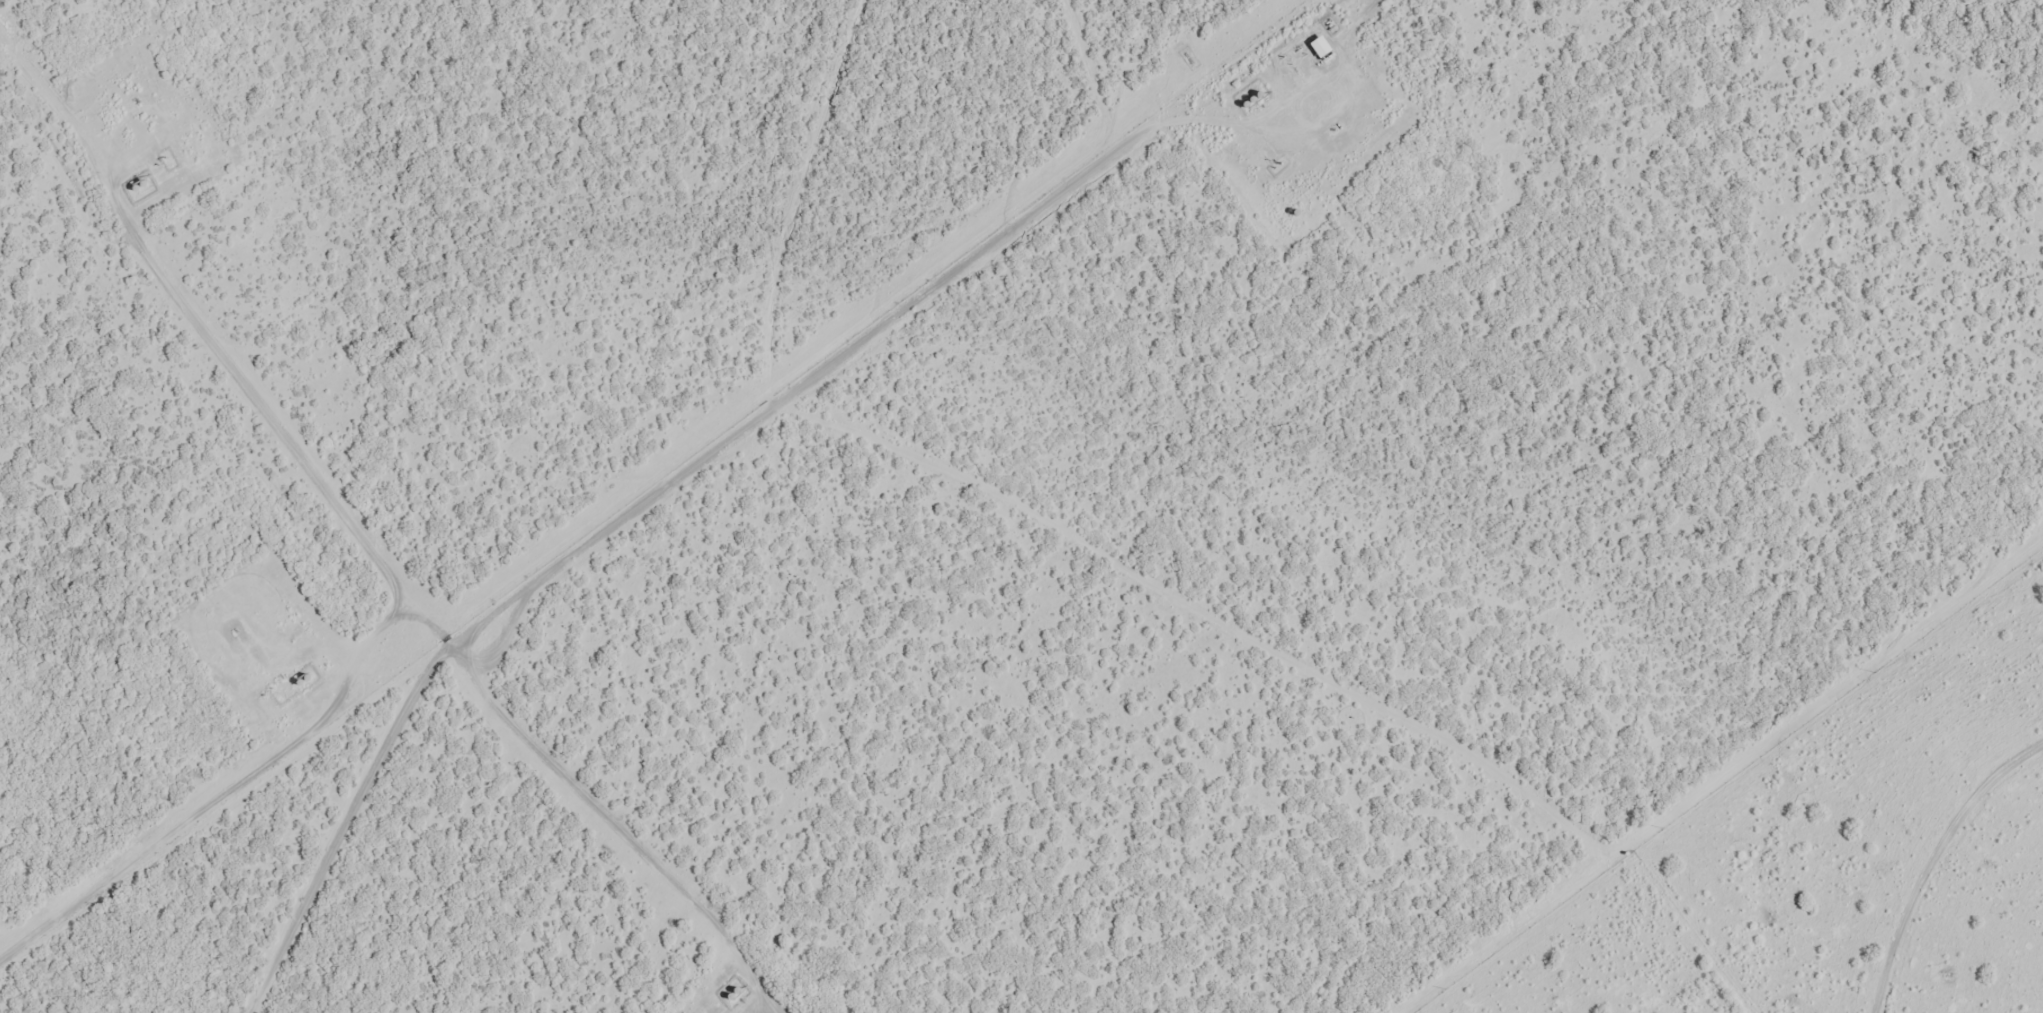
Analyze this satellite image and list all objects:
road: (1752, 797)
road: (1970, 900)

